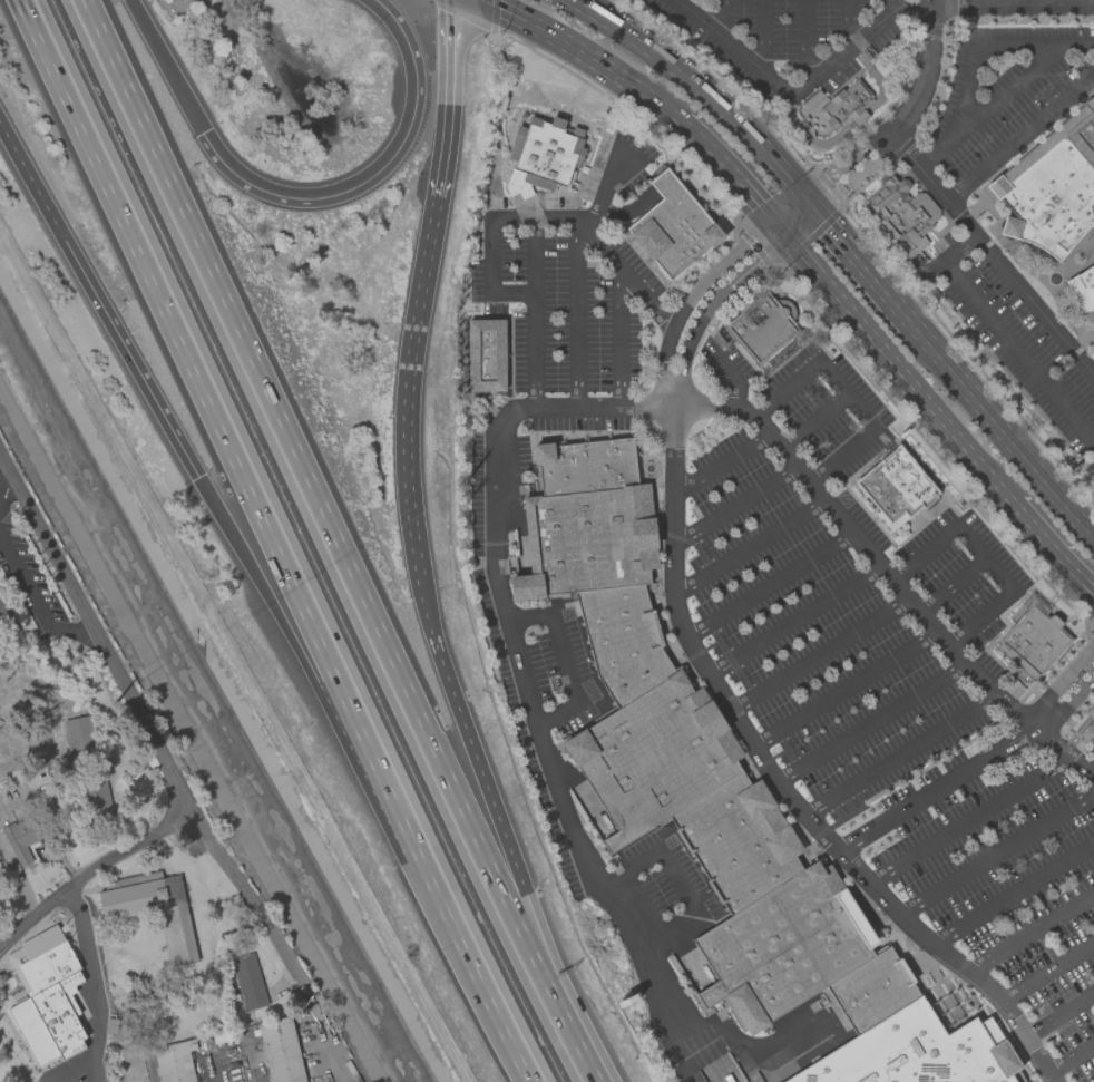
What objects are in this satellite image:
road: (676, 0)
road: (1056, 2)
road: (593, 3)
road: (975, 3)
road: (1016, 3)
road: (888, 7)
road: (1010, 7)
road: (719, 18)
road: (851, 22)
road: (538, 23)
road: (765, 37)
road: (808, 39)
road: (980, 50)
road: (924, 70)
road: (636, 86)
road: (799, 86)
road: (705, 91)
road: (1004, 94)
road: (451, 98)
building: (843, 107)
road: (1020, 134)
building: (541, 155)
road: (844, 160)
road: (853, 173)
road: (735, 178)
building: (1051, 186)
traffic signals: (800, 194)
road: (303, 196)
road: (787, 205)
traffic signals: (812, 209)
building: (902, 215)
traffic signals: (774, 217)
road: (496, 221)
road: (799, 221)
building: (673, 226)
traffic signals: (787, 232)
road: (994, 254)
building: (1092, 254)
road: (530, 256)
road: (860, 266)
road: (693, 296)
building: (1083, 296)
road: (711, 304)
road: (574, 312)
building: (762, 328)
road: (616, 330)
road: (1004, 335)
building: (486, 354)
road: (899, 367)
road: (1093, 373)
road: (847, 396)
road: (811, 421)
road: (999, 433)
road: (720, 462)
building: (584, 465)
traffic signals: (198, 475)
road: (307, 485)
road: (6, 487)
building: (895, 488)
road: (733, 504)
building: (586, 540)
road: (275, 542)
road: (748, 545)
road: (1052, 548)
road: (983, 557)
road: (244, 558)
road: (674, 561)
road: (768, 583)
road: (949, 583)
road: (427, 588)
road: (33, 604)
building: (2, 612)
road: (793, 620)
road: (96, 633)
building: (1032, 637)
building: (622, 640)
road: (817, 653)
road: (568, 662)
road: (524, 678)
road: (1061, 681)
road: (843, 686)
road: (1068, 704)
building: (1091, 710)
road: (871, 721)
building: (1090, 729)
road: (1078, 731)
building: (80, 734)
road: (1065, 747)
road: (897, 750)
building: (653, 757)
road: (936, 789)
road: (968, 817)
building: (20, 840)
building: (738, 840)
road: (995, 852)
road: (1010, 890)
building: (152, 908)
road: (79, 916)
road: (37, 917)
road: (1032, 930)
road: (279, 942)
building: (783, 946)
road: (1, 947)
road: (1048, 971)
building: (247, 982)
building: (50, 986)
building: (871, 990)
road: (1059, 1012)
road: (563, 1025)
building: (280, 1051)
building: (910, 1053)
road: (1071, 1055)
building: (174, 1061)
road: (211, 1069)
road: (79, 1070)

